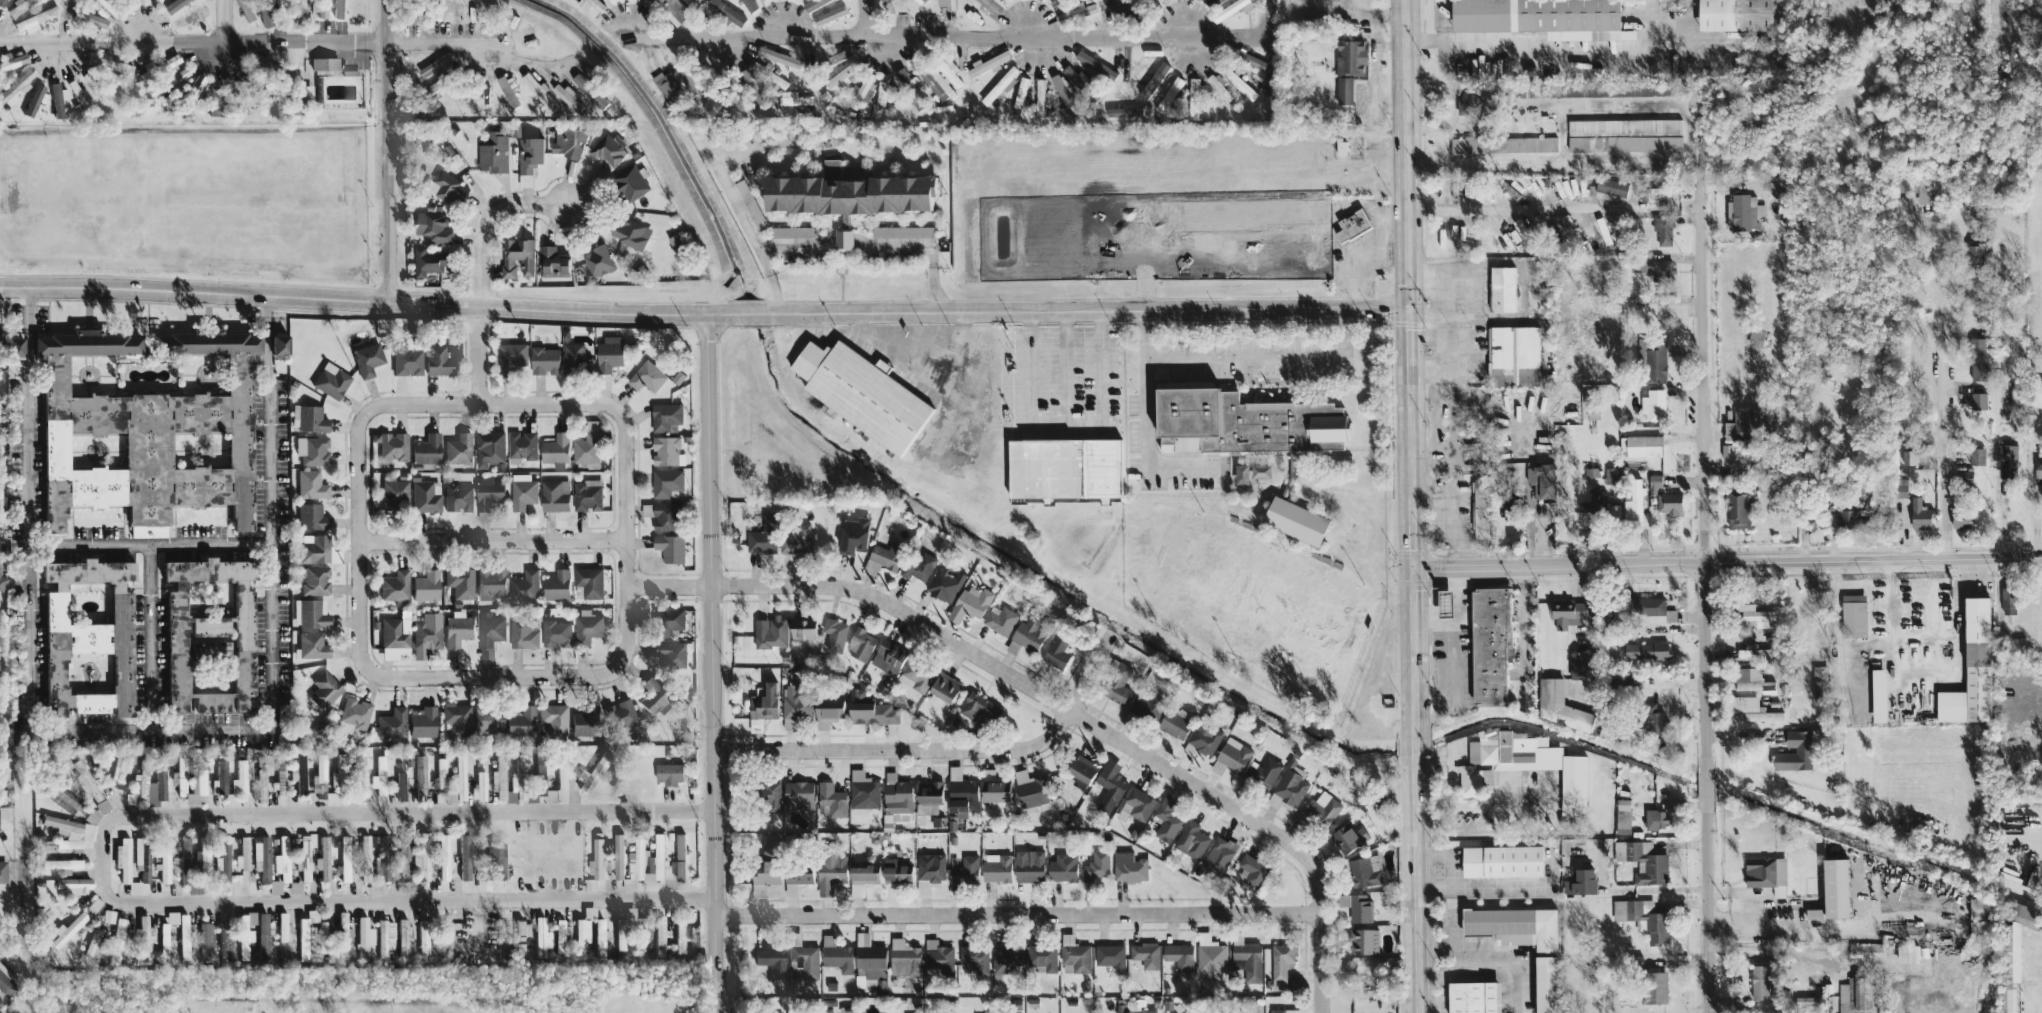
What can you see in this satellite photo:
building: (36, 0)
building: (882, 0)
building: (28, 1)
building: (158, 1)
building: (610, 1)
building: (920, 1)
building: (1215, 1)
road: (1992, 1)
building: (946, 4)
building: (590, 6)
building: (321, 8)
building: (338, 8)
building: (293, 9)
building: (674, 10)
building: (726, 11)
building: (1075, 12)
building: (829, 14)
building: (1734, 15)
road: (868, 16)
building: (36, 18)
building: (88, 18)
building: (1542, 18)
road: (222, 20)
road: (963, 36)
road: (193, 40)
road: (440, 43)
building: (838, 55)
building: (779, 57)
building: (1250, 59)
road: (1548, 59)
building: (170, 60)
building: (13, 61)
building: (988, 62)
building: (1090, 63)
building: (265, 64)
building: (323, 64)
building: (433, 66)
building: (946, 67)
building: (1348, 67)
building: (124, 68)
building: (688, 81)
building: (936, 82)
building: (1237, 82)
building: (16, 85)
building: (162, 85)
building: (666, 85)
building: (752, 85)
building: (999, 85)
building: (194, 87)
building: (1219, 87)
building: (1612, 88)
building: (300, 89)
building: (862, 89)
building: (509, 90)
building: (589, 90)
building: (538, 91)
building: (1170, 93)
building: (1022, 94)
building: (1066, 94)
building: (882, 95)
building: (1041, 96)
building: (82, 97)
building: (1193, 98)
building: (55, 99)
building: (33, 100)
building: (215, 100)
building: (797, 101)
building: (1469, 102)
road: (1680, 106)
building: (1614, 131)
building: (567, 142)
building: (1503, 144)
building: (608, 149)
road: (387, 150)
building: (493, 152)
building: (528, 158)
road: (1486, 158)
building: (829, 167)
building: (629, 182)
building: (1611, 186)
building: (446, 187)
road: (728, 187)
building: (1922, 189)
building: (846, 191)
building: (750, 203)
road: (1528, 210)
building: (1743, 210)
building: (1352, 224)
building: (432, 226)
building: (1520, 226)
building: (1570, 228)
building: (1603, 229)
building: (1662, 229)
building: (901, 230)
building: (790, 231)
building: (630, 232)
building: (842, 238)
road: (847, 239)
road: (798, 244)
road: (892, 245)
building: (1973, 252)
building: (517, 256)
building: (597, 259)
building: (428, 260)
building: (551, 261)
road: (480, 267)
building: (1652, 267)
road: (934, 278)
road: (772, 280)
building: (1501, 287)
road: (366, 300)
road: (1947, 307)
traffic signals: (1410, 308)
road: (29, 309)
road: (1090, 310)
road: (267, 311)
road: (752, 312)
road: (1455, 327)
road: (902, 332)
road: (1433, 334)
building: (1755, 337)
building: (276, 344)
building: (1977, 344)
building: (12, 345)
building: (608, 352)
building: (511, 355)
building: (1514, 355)
building: (574, 356)
road: (1271, 358)
building: (366, 359)
building: (406, 359)
building: (436, 359)
building: (543, 359)
building: (1652, 359)
road: (1410, 365)
building: (1977, 370)
road: (1064, 371)
building: (646, 375)
road: (933, 379)
building: (330, 380)
building: (861, 392)
building: (2037, 392)
road: (1427, 394)
building: (1978, 399)
road: (491, 401)
building: (1654, 404)
building: (1592, 411)
building: (664, 415)
building: (307, 418)
building: (1239, 420)
building: (1744, 421)
road: (1149, 422)
road: (1442, 422)
building: (143, 433)
road: (1066, 433)
building: (521, 444)
building: (1325, 444)
building: (1641, 444)
building: (391, 445)
building: (489, 445)
building: (554, 447)
building: (425, 448)
building: (458, 448)
building: (585, 449)
building: (1726, 449)
building: (312, 450)
building: (665, 450)
building: (1976, 455)
building: (1909, 456)
building: (2006, 461)
building: (2038, 466)
building: (1063, 467)
building: (1260, 470)
building: (1240, 473)
road: (1700, 473)
building: (1965, 476)
building: (1540, 480)
building: (1655, 481)
building: (665, 482)
building: (310, 484)
building: (2040, 485)
building: (1899, 486)
building: (393, 493)
building: (487, 494)
building: (523, 494)
building: (554, 494)
building: (425, 495)
building: (587, 496)
building: (457, 497)
building: (1596, 499)
building: (1632, 500)
building: (1669, 502)
building: (1739, 506)
road: (1451, 508)
building: (1480, 508)
building: (660, 514)
building: (1920, 514)
building: (310, 516)
building: (1847, 516)
building: (1962, 516)
building: (1294, 519)
road: (269, 529)
road: (28, 531)
road: (1947, 532)
building: (852, 534)
building: (762, 536)
road: (625, 537)
road: (358, 539)
road: (491, 539)
building: (796, 539)
road: (149, 543)
building: (669, 547)
building: (312, 548)
building: (885, 553)
road: (1727, 562)
building: (918, 565)
traffic signals: (1413, 568)
building: (870, 570)
building: (314, 580)
building: (588, 580)
building: (2, 582)
building: (458, 582)
building: (944, 582)
building: (490, 583)
building: (524, 584)
building: (555, 584)
building: (425, 585)
building: (394, 586)
building: (972, 599)
building: (2007, 599)
building: (1443, 602)
building: (1653, 610)
building: (1566, 612)
building: (309, 613)
building: (1756, 615)
building: (1853, 618)
building: (1000, 619)
road: (1434, 619)
building: (666, 620)
building: (586, 626)
building: (457, 628)
building: (801, 630)
building: (770, 631)
building: (488, 632)
building: (523, 632)
building: (555, 633)
building: (835, 633)
building: (1026, 633)
building: (425, 634)
building: (207, 635)
building: (85, 636)
road: (151, 637)
building: (393, 637)
building: (1489, 642)
building: (861, 644)
river: (1165, 644)
building: (311, 645)
road: (1453, 646)
building: (1646, 649)
building: (1056, 651)
building: (1754, 652)
building: (669, 653)
building: (888, 656)
road: (710, 663)
building: (1578, 664)
building: (1971, 668)
building: (916, 674)
road: (492, 676)
building: (1751, 679)
building: (1116, 682)
building: (324, 689)
building: (942, 689)
building: (1878, 694)
building: (653, 696)
road: (1053, 700)
building: (794, 702)
building: (1146, 705)
building: (1561, 705)
building: (760, 706)
building: (978, 706)
building: (1751, 708)
building: (827, 710)
building: (870, 710)
building: (354, 714)
building: (620, 714)
building: (456, 717)
building: (1650, 717)
building: (487, 718)
building: (553, 719)
building: (422, 721)
building: (520, 722)
building: (391, 723)
building: (579, 723)
building: (1174, 723)
road: (152, 731)
building: (1203, 739)
road: (1417, 742)
road: (941, 748)
building: (1795, 751)
building: (1233, 754)
building: (1502, 756)
building: (121, 767)
building: (1081, 770)
building: (297, 771)
building: (1263, 771)
building: (591, 772)
building: (667, 772)
building: (319, 774)
building: (440, 774)
building: (420, 775)
building: (1573, 775)
building: (220, 776)
building: (379, 776)
building: (178, 777)
building: (239, 777)
building: (84, 779)
building: (501, 780)
road: (1705, 780)
building: (457, 781)
building: (561, 782)
building: (150, 783)
building: (1110, 785)
building: (260, 786)
building: (400, 786)
building: (480, 786)
building: (540, 786)
building: (994, 786)
building: (1029, 789)
building: (1288, 789)
building: (863, 792)
building: (961, 792)
building: (768, 795)
building: (897, 797)
building: (928, 797)
building: (331, 799)
building: (830, 799)
building: (67, 800)
building: (1136, 804)
building: (102, 805)
building: (1322, 807)
building: (91, 815)
building: (1622, 815)
building: (1167, 817)
building: (1655, 819)
building: (69, 831)
building: (1348, 837)
building: (1191, 839)
building: (343, 841)
building: (1573, 848)
building: (173, 850)
building: (184, 853)
building: (244, 853)
building: (362, 853)
building: (280, 854)
building: (403, 855)
building: (618, 855)
building: (1217, 855)
road: (1450, 855)
building: (421, 856)
building: (442, 856)
building: (659, 856)
building: (303, 857)
building: (462, 857)
building: (597, 857)
building: (678, 857)
building: (638, 858)
road: (105, 859)
building: (122, 859)
building: (201, 859)
building: (221, 859)
building: (263, 859)
building: (141, 860)
building: (163, 860)
building: (1502, 860)
building: (1642, 860)
building: (321, 862)
building: (61, 863)
building: (492, 865)
building: (1028, 865)
building: (1095, 865)
building: (930, 866)
building: (1129, 866)
building: (380, 867)
building: (996, 867)
building: (1062, 867)
building: (764, 868)
building: (894, 869)
building: (830, 870)
building: (964, 870)
building: (1364, 870)
building: (2, 871)
building: (1253, 871)
building: (798, 872)
building: (1766, 873)
building: (861, 877)
building: (1579, 881)
building: (588, 883)
road: (1419, 883)
building: (73, 885)
road: (1506, 886)
building: (274, 887)
building: (294, 887)
building: (1834, 887)
building: (134, 888)
building: (1355, 905)
road: (1707, 905)
building: (1980, 907)
road: (1017, 913)
building: (1648, 919)
building: (282, 926)
building: (583, 929)
building: (643, 929)
building: (1978, 929)
building: (66, 930)
road: (1447, 931)
building: (180, 932)
building: (305, 933)
building: (342, 934)
building: (620, 934)
building: (244, 935)
building: (261, 935)
building: (560, 935)
building: (681, 935)
building: (383, 936)
building: (143, 937)
building: (363, 937)
building: (402, 937)
building: (422, 937)
building: (520, 937)
building: (540, 937)
building: (661, 937)
building: (204, 938)
building: (162, 939)
building: (599, 939)
building: (117, 940)
building: (1363, 940)
building: (222, 942)
building: (1522, 942)
building: (94, 943)
road: (1472, 945)
building: (2013, 952)
building: (1075, 953)
building: (1145, 953)
building: (1210, 953)
building: (1907, 953)
building: (836, 954)
building: (1110, 955)
building: (1179, 955)
building: (1042, 956)
building: (801, 957)
building: (903, 958)
building: (937, 958)
building: (1005, 958)
building: (973, 959)
building: (1281, 959)
building: (770, 960)
building: (1247, 960)
building: (869, 962)
road: (1490, 972)
building: (6, 981)
building: (1759, 981)
building: (1654, 986)
building: (1854, 995)
building: (1013, 1003)
building: (1284, 1010)
building: (1150, 1011)

